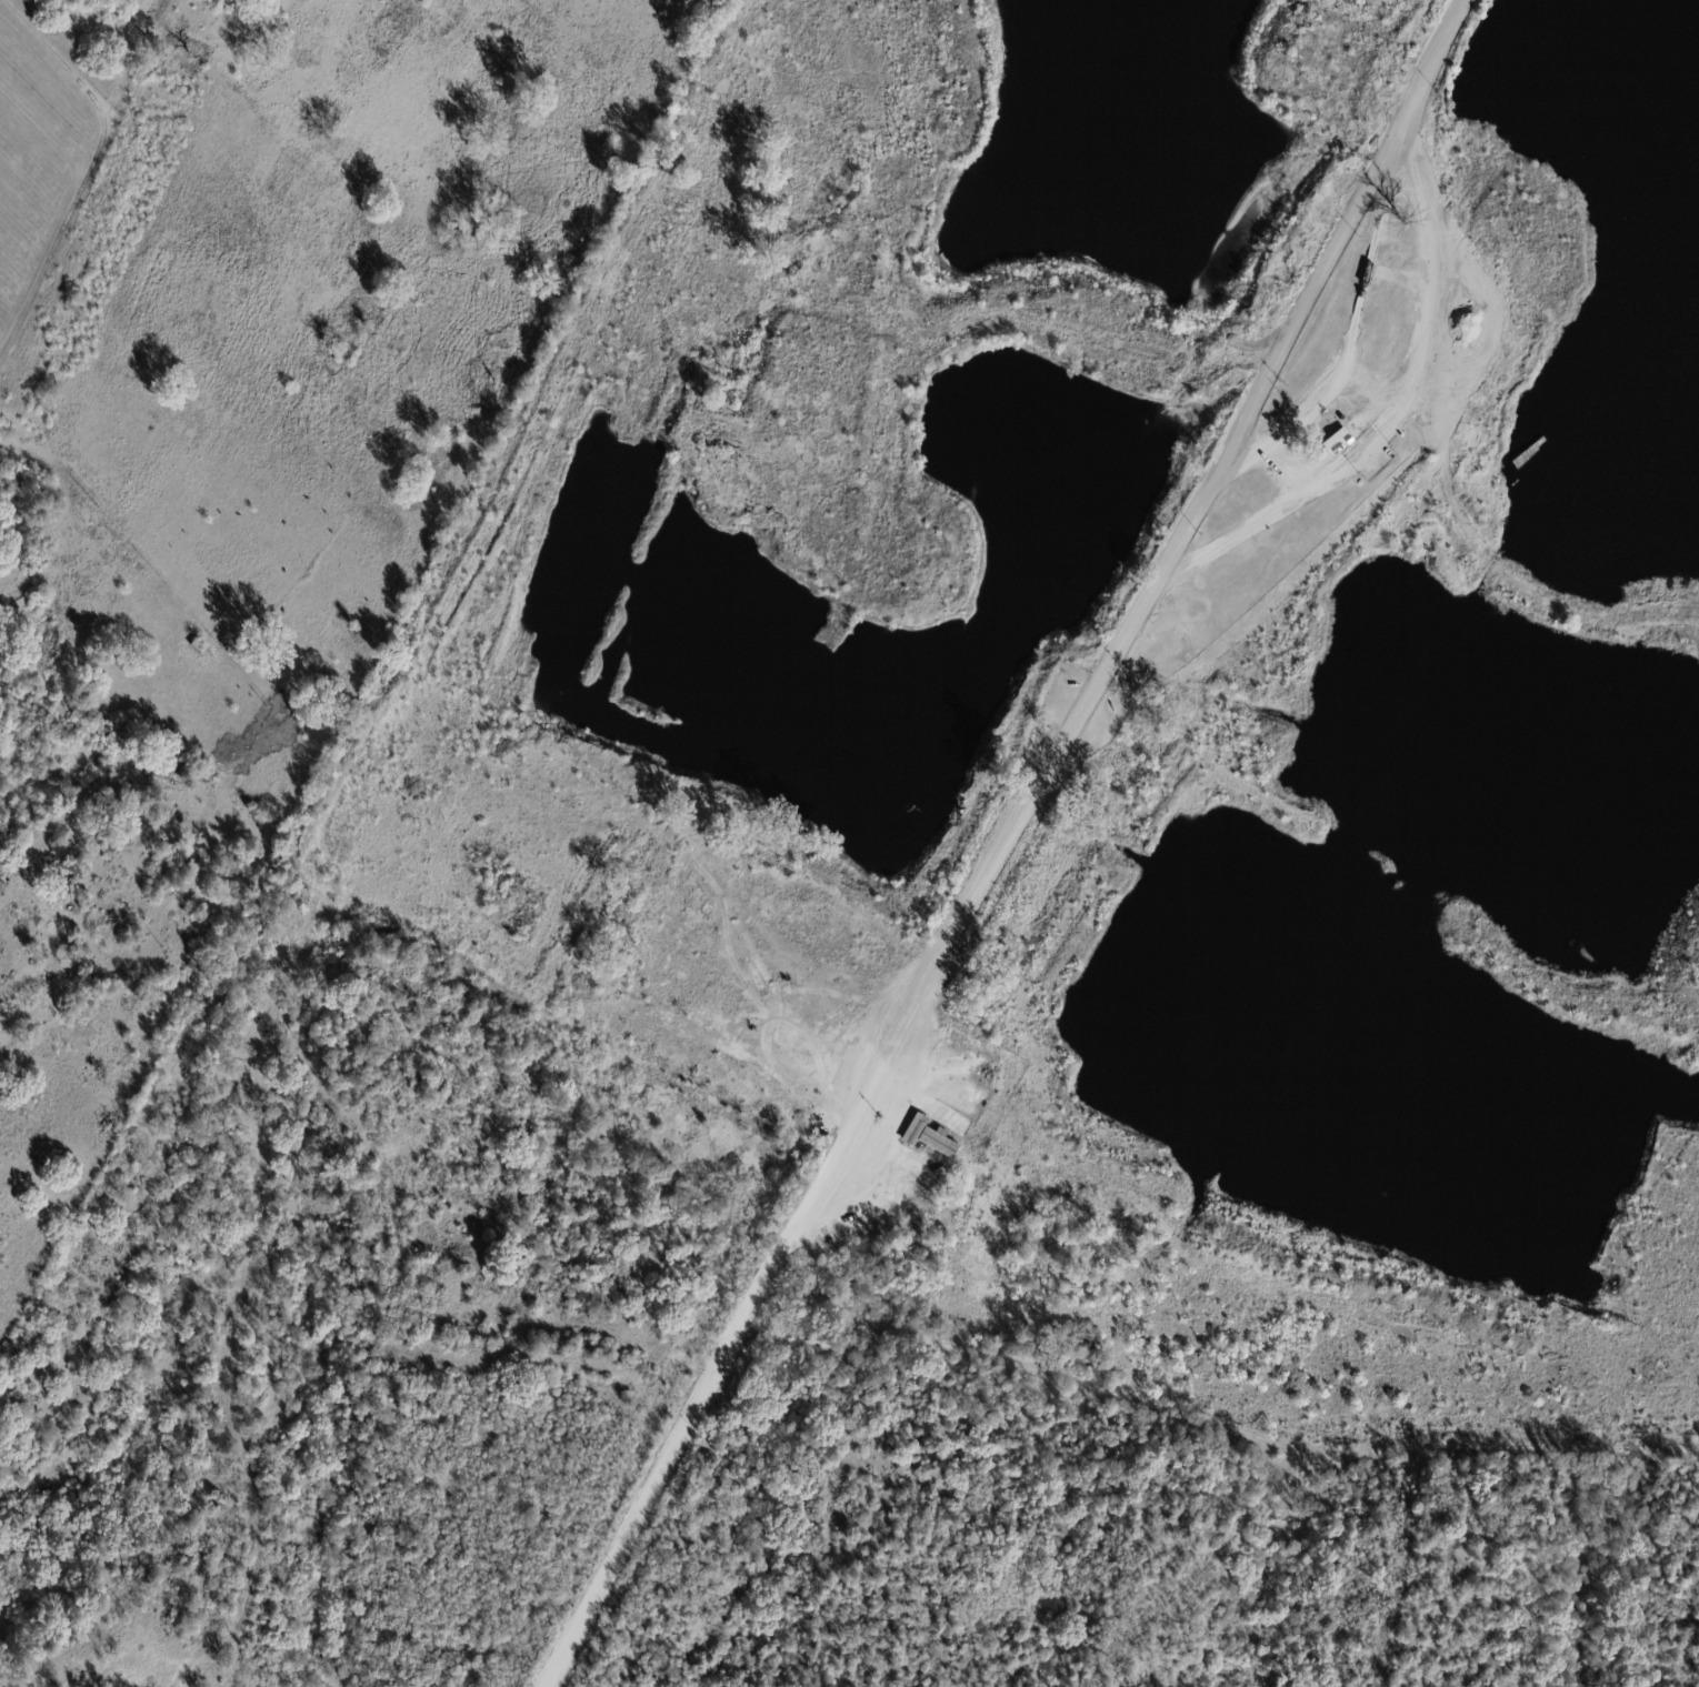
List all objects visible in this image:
road: (1398, 399)
building: (1338, 440)
building: (1520, 446)
building: (197, 646)
road: (1006, 843)
building: (2, 887)
building: (929, 1138)

